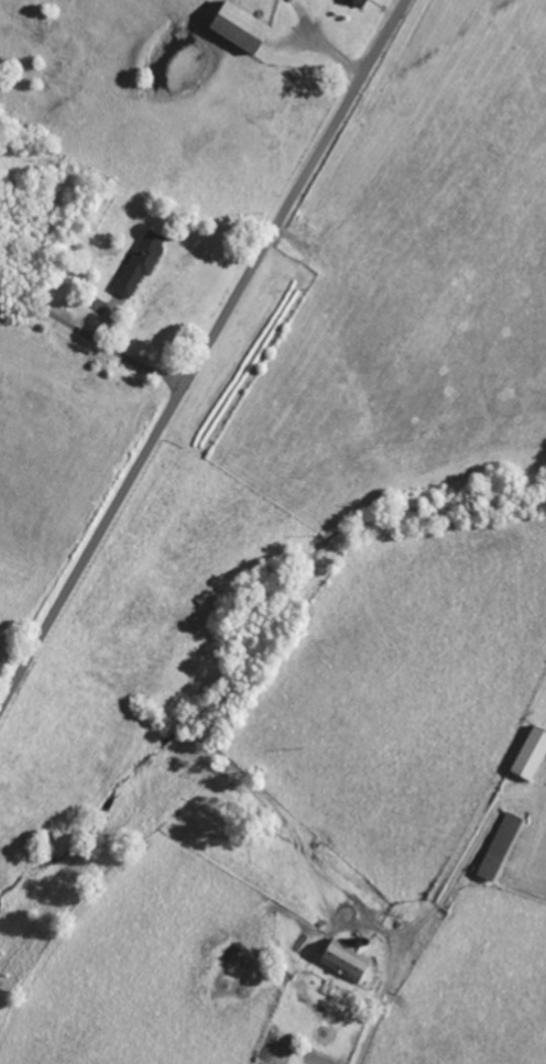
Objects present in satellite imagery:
building: (360, 2)
building: (240, 26)
building: (141, 263)
road: (203, 355)
building: (531, 755)
building: (501, 847)
building: (346, 959)

